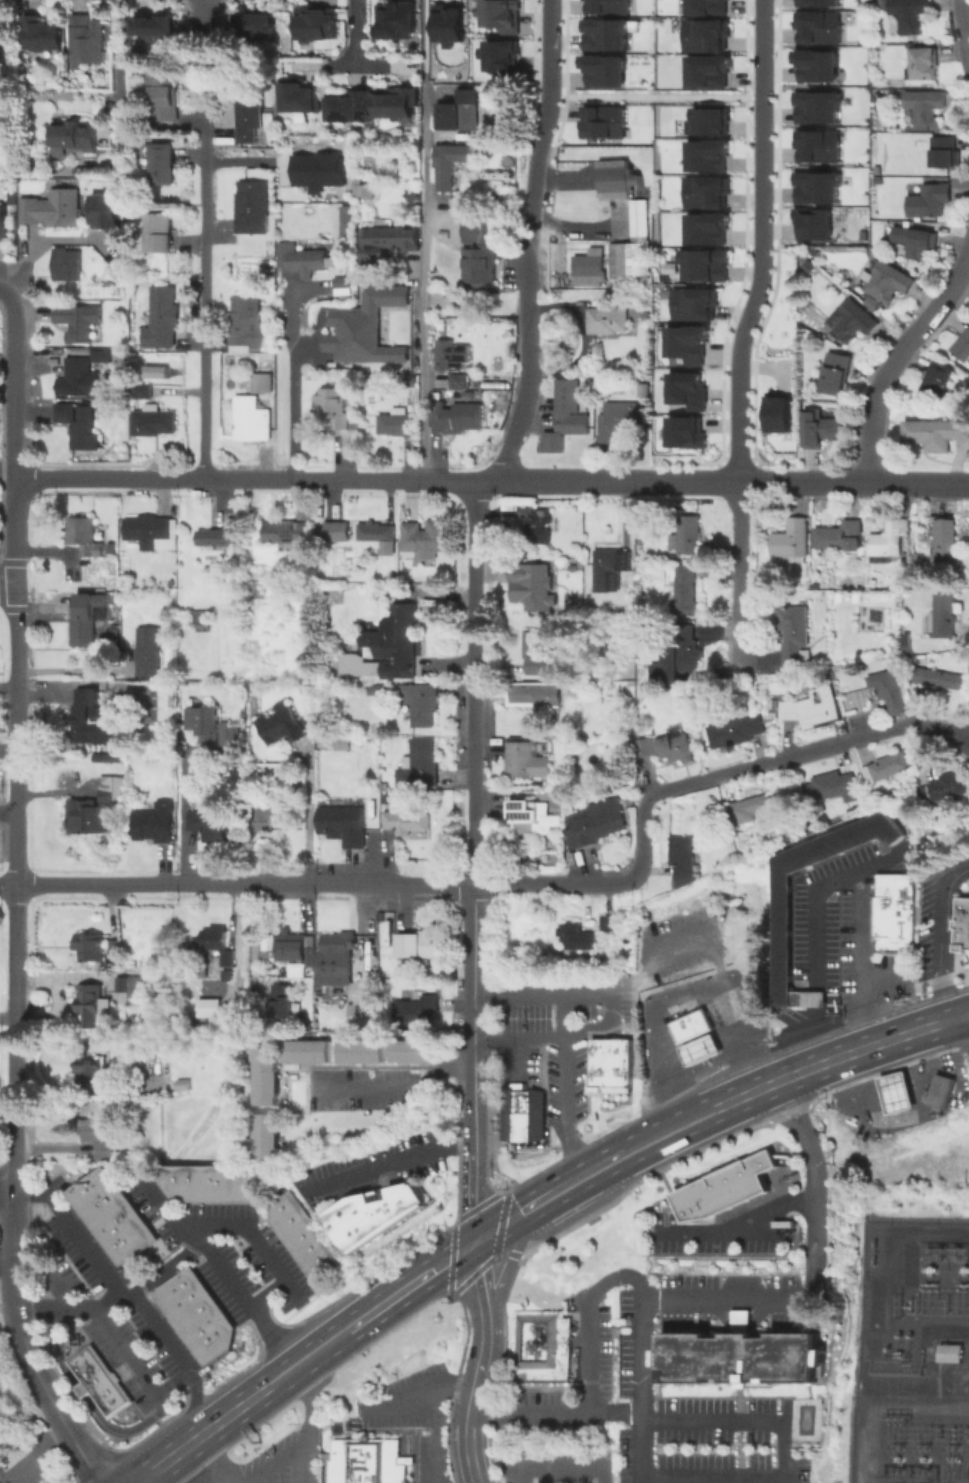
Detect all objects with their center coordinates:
building: (818, 1)
building: (610, 6)
building: (709, 6)
building: (500, 14)
building: (911, 14)
road: (204, 19)
road: (964, 21)
building: (397, 23)
building: (446, 23)
building: (256, 24)
building: (318, 25)
building: (820, 25)
building: (153, 29)
building: (706, 32)
road: (358, 33)
building: (606, 33)
building: (41, 35)
building: (86, 41)
road: (553, 42)
road: (423, 43)
street lamp: (560, 52)
building: (499, 53)
building: (817, 64)
road: (212, 65)
building: (925, 65)
building: (709, 68)
road: (117, 69)
building: (605, 69)
street lamp: (748, 90)
building: (167, 96)
road: (656, 97)
building: (300, 98)
building: (816, 106)
building: (398, 107)
building: (350, 108)
building: (926, 108)
building: (460, 113)
road: (547, 113)
building: (251, 117)
building: (706, 120)
building: (603, 121)
building: (74, 137)
street lamp: (549, 141)
building: (818, 144)
building: (708, 153)
building: (945, 154)
building: (164, 165)
building: (450, 165)
building: (318, 168)
road: (565, 181)
building: (616, 181)
building: (815, 186)
building: (364, 191)
building: (704, 191)
building: (14, 198)
building: (928, 201)
building: (253, 209)
building: (54, 210)
street lamp: (748, 210)
building: (107, 214)
building: (810, 222)
building: (2, 223)
building: (347, 224)
building: (707, 226)
building: (159, 229)
road: (580, 229)
road: (763, 242)
building: (913, 242)
road: (38, 243)
building: (386, 245)
building: (635, 250)
building: (483, 253)
building: (301, 257)
building: (704, 262)
building: (69, 266)
building: (590, 269)
building: (663, 277)
road: (424, 282)
building: (560, 282)
building: (887, 282)
road: (204, 286)
road: (1, 291)
building: (692, 300)
park: (777, 306)
road: (530, 312)
building: (163, 319)
building: (79, 320)
building: (609, 322)
building: (851, 322)
building: (249, 324)
street lamp: (732, 324)
building: (365, 327)
building: (687, 341)
building: (963, 350)
building: (445, 356)
building: (104, 358)
road: (895, 358)
building: (394, 373)
building: (836, 375)
building: (80, 380)
building: (939, 381)
building: (263, 384)
building: (460, 387)
road: (291, 388)
building: (687, 389)
building: (646, 391)
building: (144, 392)
building: (333, 403)
building: (778, 411)
building: (570, 414)
building: (457, 418)
building: (251, 421)
building: (618, 421)
building: (155, 422)
building: (396, 423)
building: (80, 426)
building: (820, 429)
building: (686, 432)
building: (937, 434)
road: (11, 435)
street lamp: (725, 450)
road: (6, 468)
street lamp: (766, 468)
road: (331, 479)
road: (723, 480)
road: (882, 481)
building: (540, 528)
building: (338, 532)
building: (151, 533)
building: (86, 536)
building: (288, 537)
building: (379, 537)
building: (687, 537)
building: (217, 539)
building: (840, 539)
building: (427, 541)
building: (946, 541)
building: (792, 542)
building: (886, 544)
building: (108, 547)
road: (737, 568)
building: (606, 569)
building: (391, 575)
road: (7, 581)
building: (169, 582)
building: (258, 589)
building: (538, 589)
building: (685, 591)
building: (164, 612)
building: (946, 617)
building: (85, 621)
building: (201, 622)
building: (112, 633)
building: (797, 634)
building: (905, 641)
building: (386, 649)
building: (689, 651)
building: (536, 652)
building: (149, 653)
road: (71, 667)
building: (943, 680)
road: (473, 682)
building: (250, 686)
building: (374, 690)
building: (893, 694)
building: (534, 695)
building: (164, 704)
building: (421, 705)
building: (813, 709)
building: (93, 719)
building: (281, 724)
building: (211, 725)
building: (745, 729)
building: (343, 745)
building: (644, 749)
building: (677, 749)
building: (110, 760)
building: (527, 762)
building: (420, 767)
building: (886, 768)
road: (686, 781)
building: (944, 788)
building: (832, 789)
building: (113, 791)
building: (390, 798)
building: (757, 807)
building: (84, 817)
building: (262, 817)
building: (534, 817)
road: (308, 818)
road: (182, 819)
building: (155, 824)
building: (216, 824)
building: (408, 824)
building: (344, 826)
building: (593, 827)
building: (683, 855)
road: (14, 882)
road: (7, 883)
road: (243, 884)
road: (813, 892)
building: (891, 912)
building: (609, 924)
building: (960, 924)
building: (781, 931)
building: (575, 938)
road: (939, 939)
building: (214, 940)
building: (422, 945)
building: (342, 947)
building: (116, 948)
building: (91, 949)
building: (297, 949)
building: (228, 960)
road: (859, 961)
road: (881, 978)
building: (132, 989)
road: (964, 992)
road: (813, 998)
building: (330, 1000)
building: (283, 1003)
road: (681, 1003)
building: (91, 1005)
building: (207, 1006)
building: (351, 1008)
road: (609, 1010)
building: (418, 1012)
road: (967, 1014)
road: (472, 1019)
road: (967, 1021)
building: (689, 1025)
road: (812, 1037)
road: (884, 1044)
building: (700, 1049)
gas station: (700, 1049)
building: (303, 1050)
building: (414, 1050)
building: (359, 1051)
road: (513, 1053)
building: (608, 1065)
building: (90, 1073)
building: (264, 1076)
road: (770, 1084)
building: (184, 1085)
road: (397, 1086)
road: (562, 1087)
building: (939, 1090)
building: (896, 1092)
gas station: (896, 1092)
road: (799, 1102)
road: (718, 1108)
building: (521, 1112)
road: (770, 1112)
building: (266, 1134)
road: (660, 1134)
building: (98, 1137)
road: (392, 1164)
road: (578, 1179)
building: (172, 1181)
building: (105, 1182)
road: (6, 1183)
building: (221, 1183)
building: (249, 1183)
building: (195, 1184)
building: (724, 1186)
building: (86, 1196)
road: (471, 1198)
building: (124, 1209)
building: (286, 1212)
building: (377, 1216)
road: (504, 1223)
road: (739, 1225)
road: (70, 1229)
building: (113, 1233)
building: (300, 1233)
building: (142, 1234)
traffic signals: (474, 1242)
building: (317, 1257)
road: (170, 1262)
road: (5, 1264)
road: (508, 1265)
building: (185, 1277)
road: (477, 1284)
road: (55, 1286)
road: (411, 1286)
building: (167, 1290)
road: (640, 1291)
road: (801, 1291)
road: (267, 1292)
building: (198, 1294)
building: (175, 1302)
road: (715, 1309)
road: (761, 1309)
building: (184, 1313)
road: (255, 1313)
road: (738, 1318)
building: (219, 1323)
building: (192, 1324)
road: (22, 1342)
building: (542, 1343)
building: (207, 1344)
road: (55, 1347)
building: (949, 1352)
building: (740, 1354)
power substation: (912, 1355)
road: (135, 1368)
road: (476, 1371)
building: (97, 1381)
road: (194, 1381)
road: (82, 1389)
road: (420, 1389)
road: (241, 1407)
road: (554, 1413)
road: (125, 1430)
road: (434, 1433)
road: (467, 1449)
road: (782, 1449)
road: (40, 1457)
building: (365, 1461)
road: (269, 1463)
road: (559, 1468)
road: (205, 1473)

